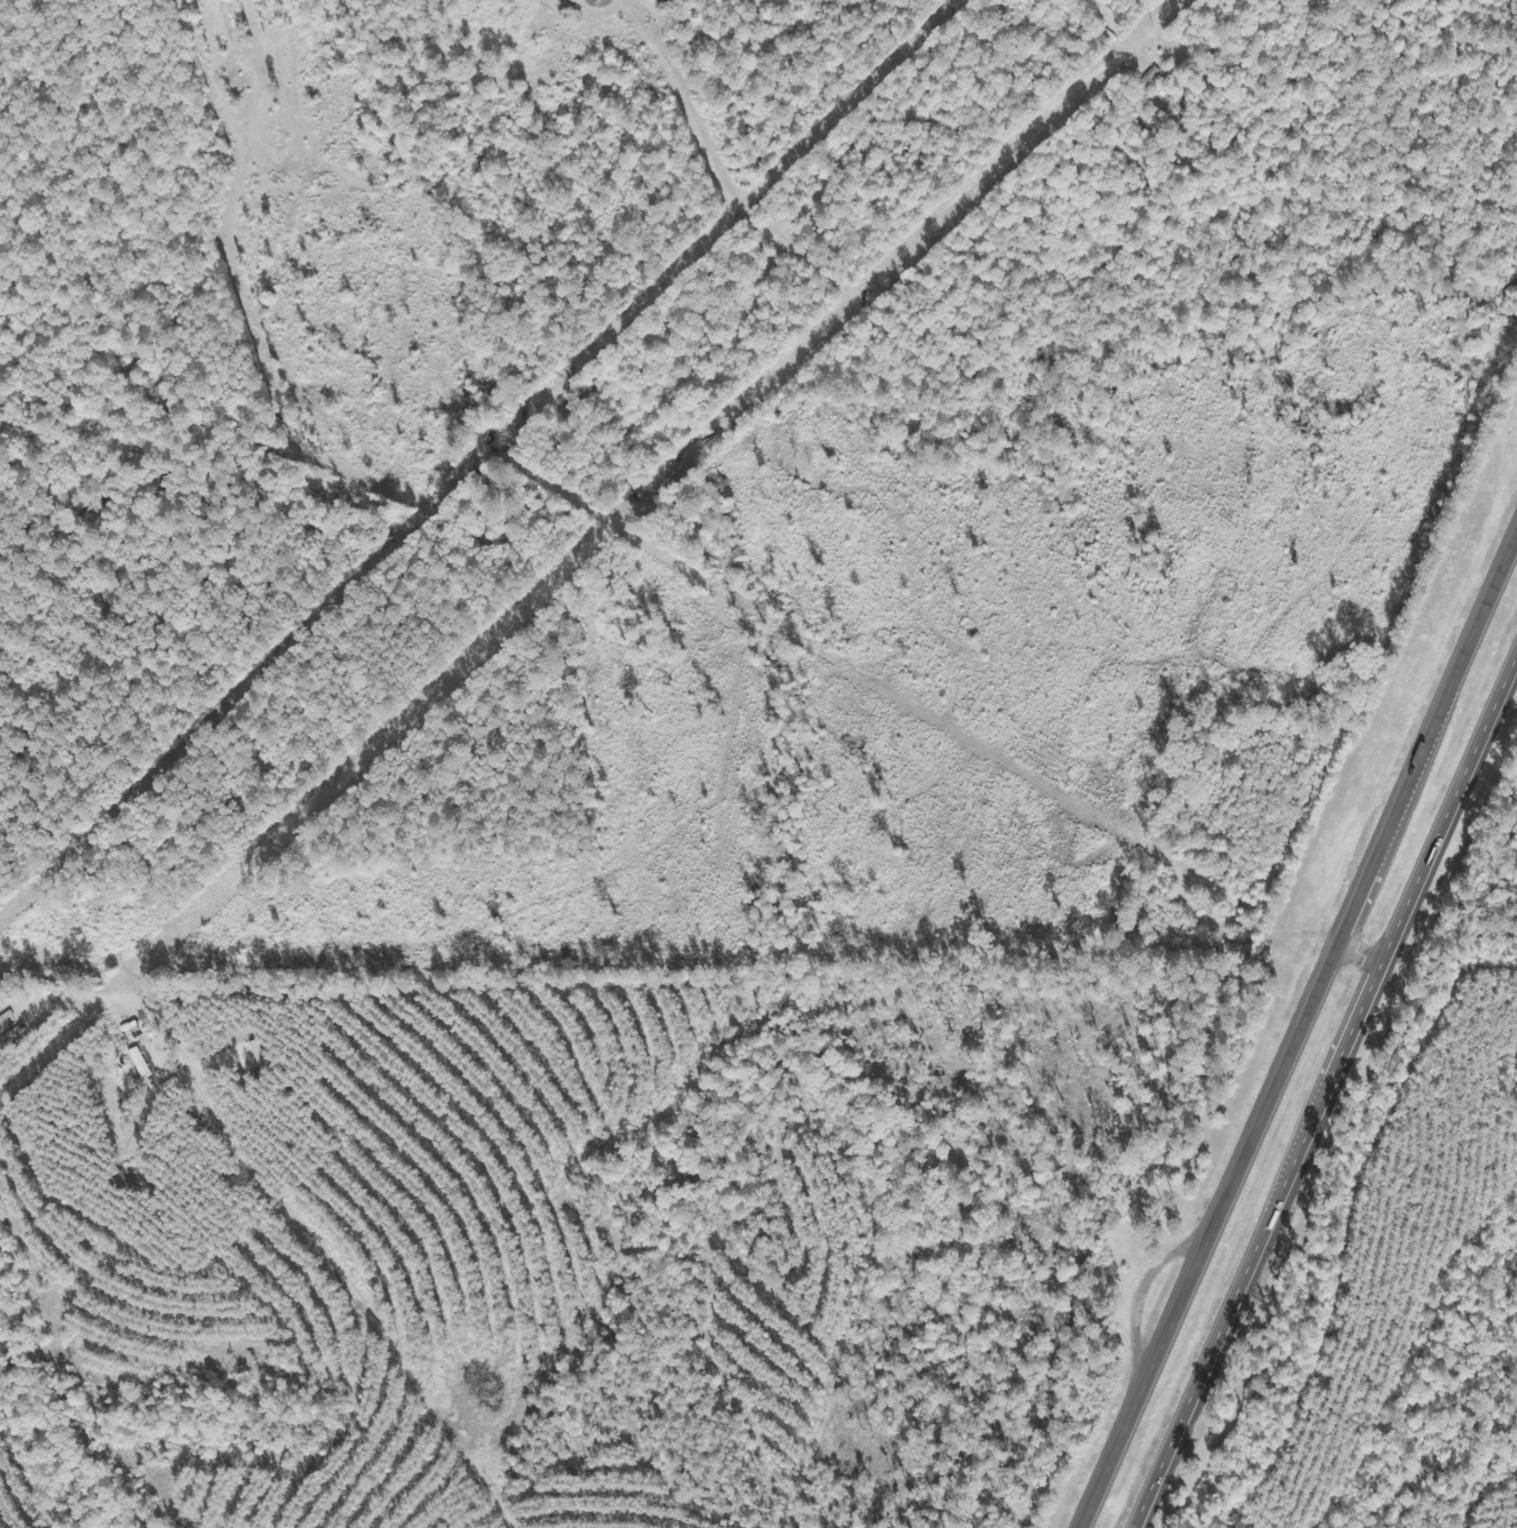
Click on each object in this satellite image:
building: (1244, 904)
road: (1358, 948)
road: (1295, 1020)
road: (1328, 1090)

